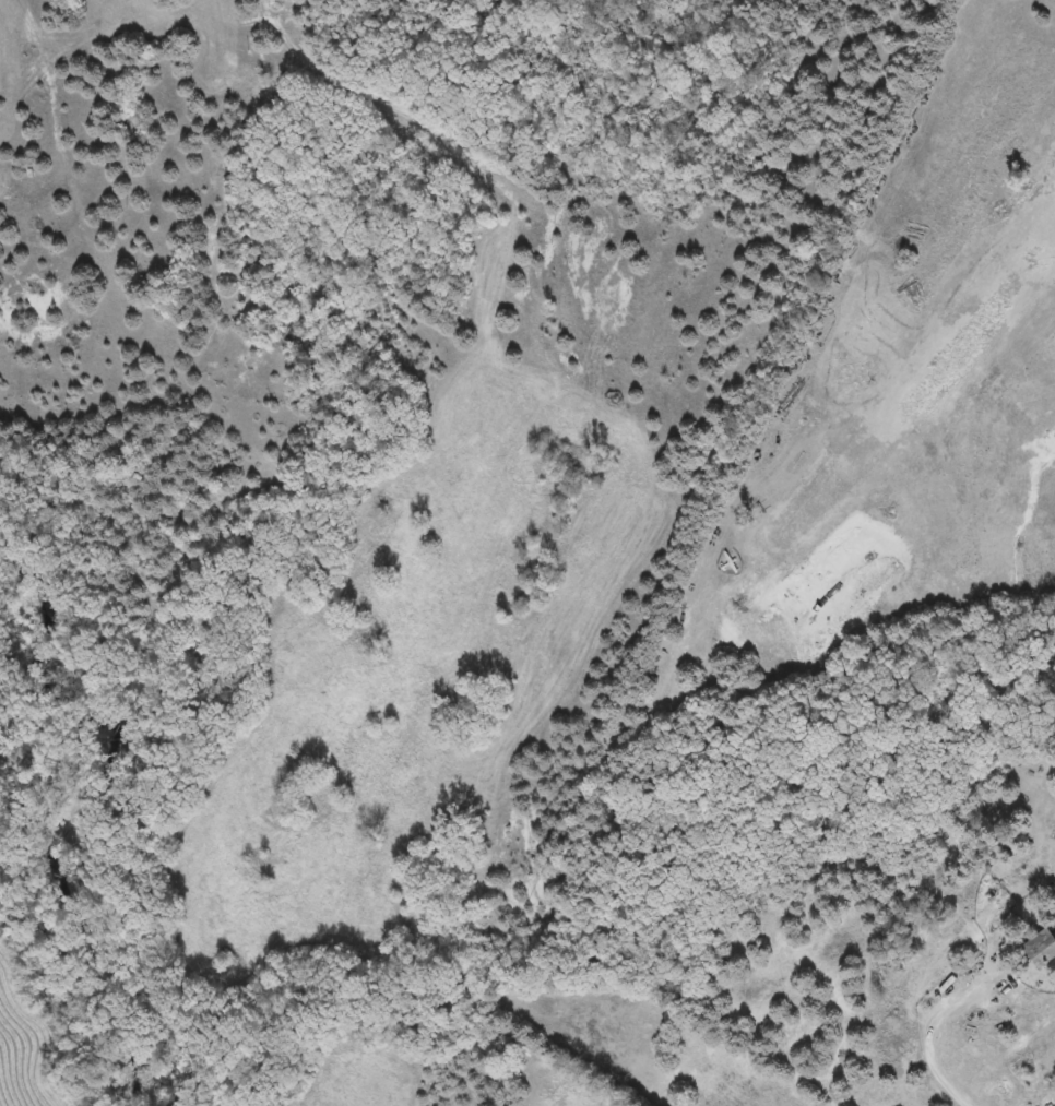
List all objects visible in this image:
building: (1036, 950)
road: (929, 1046)

